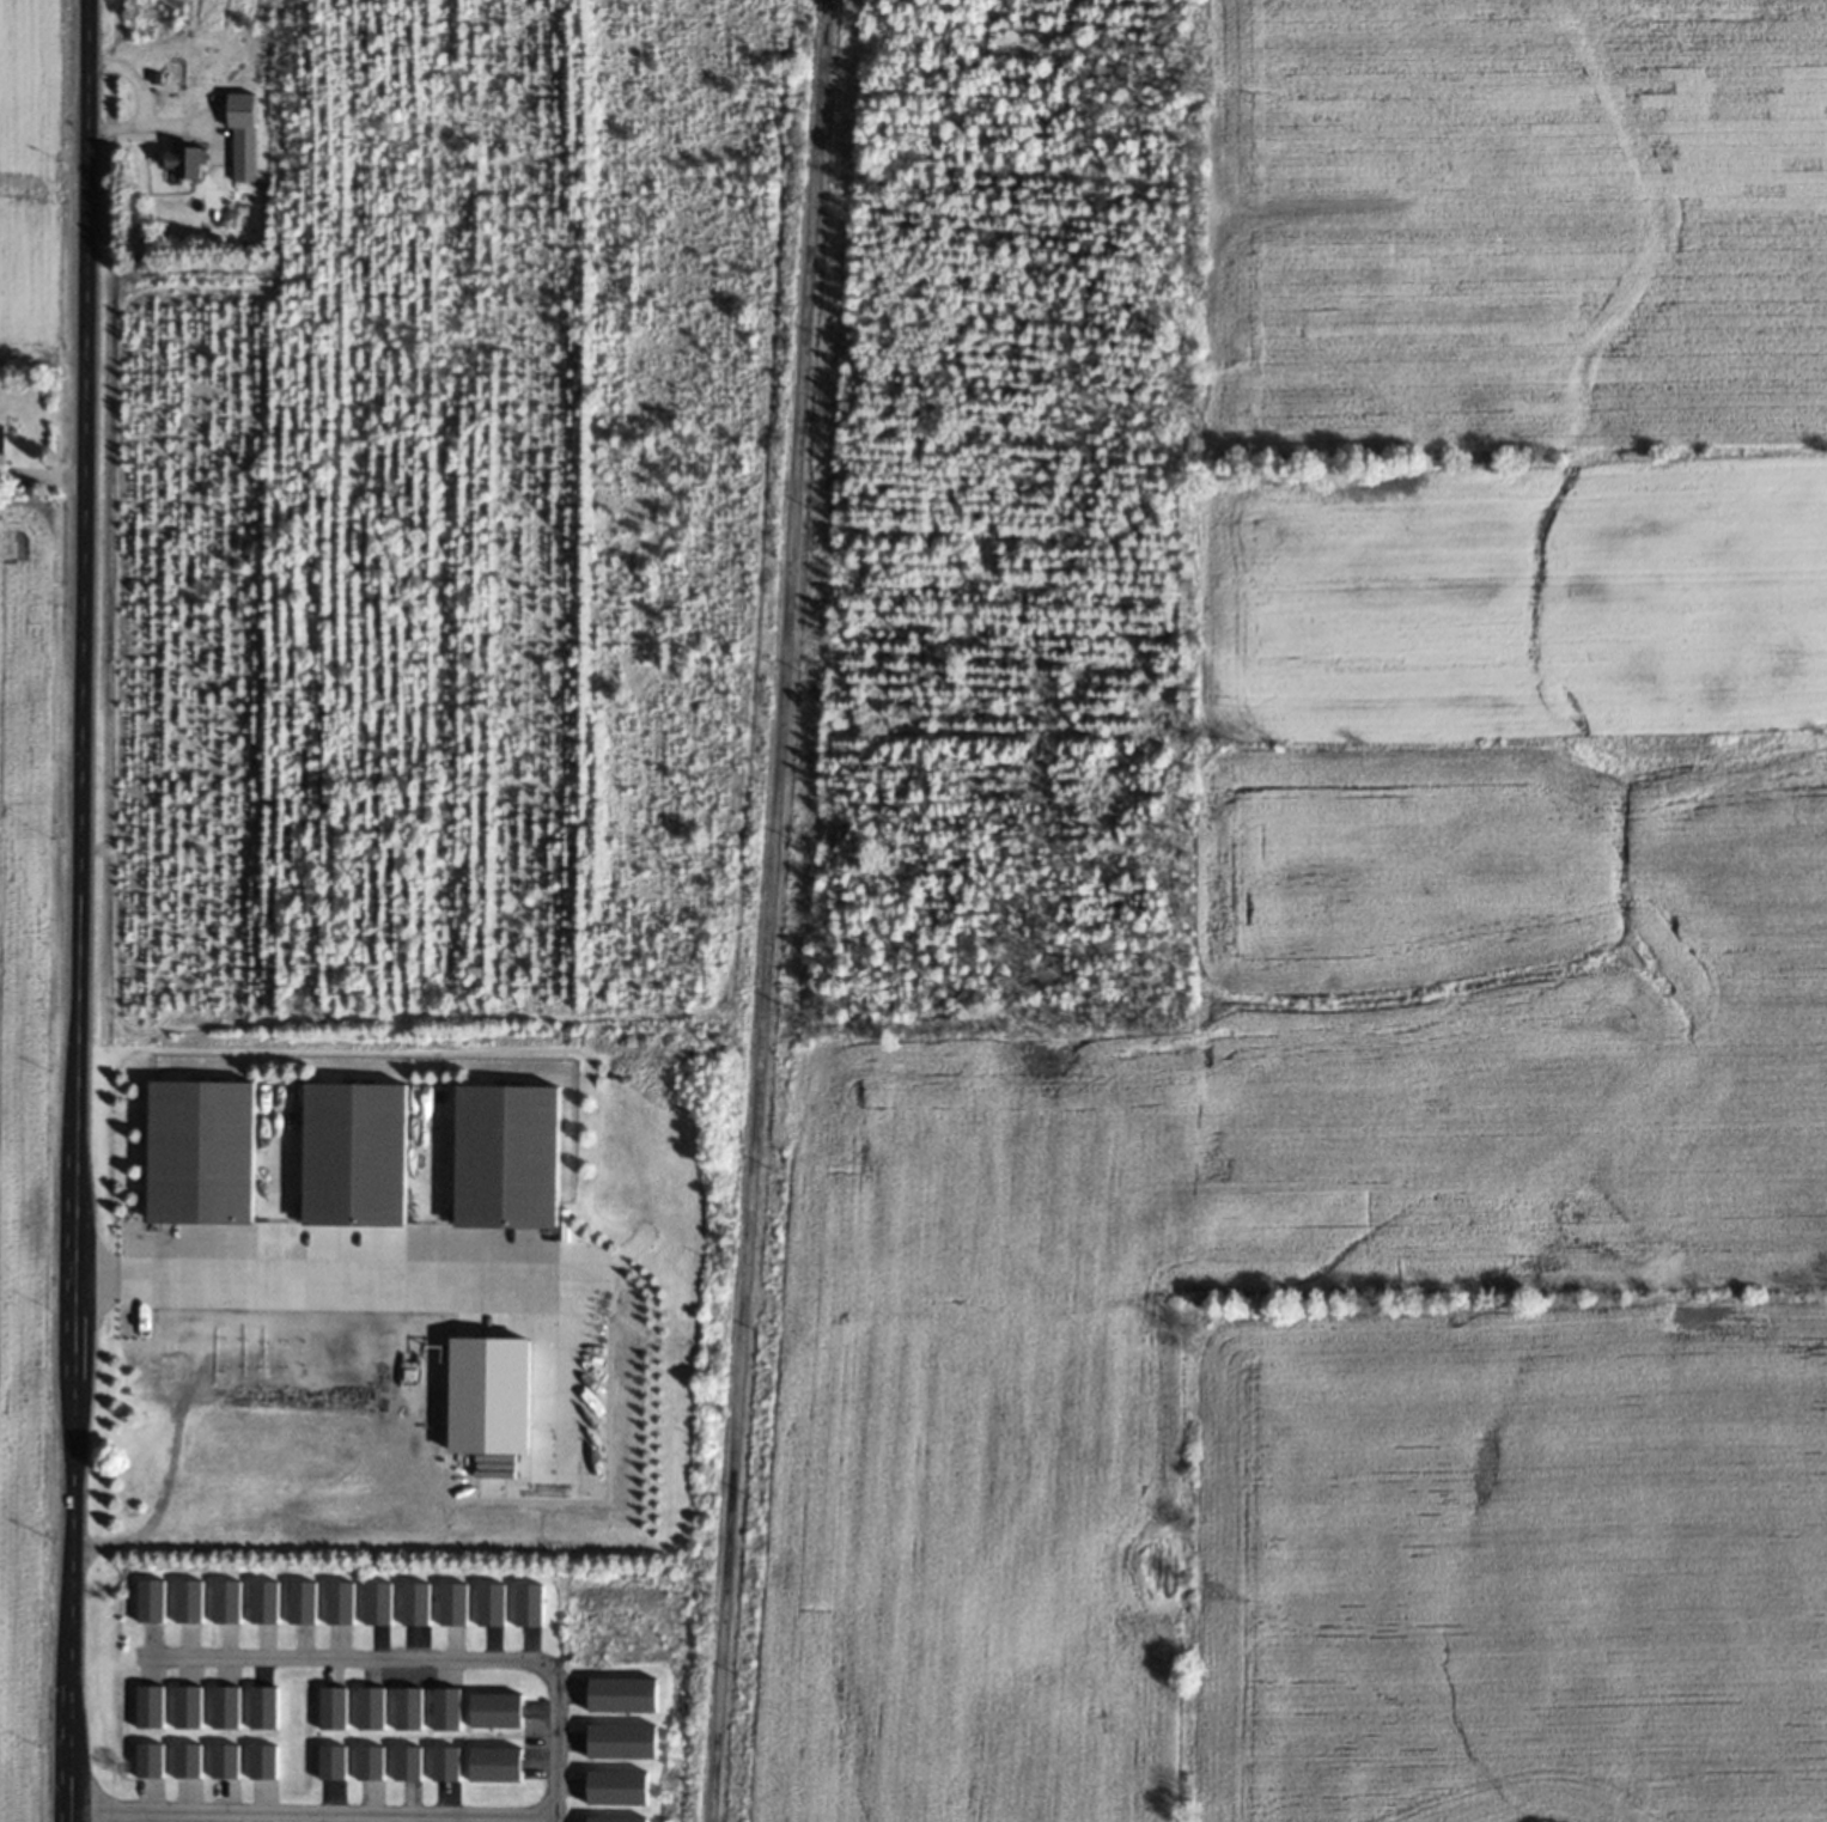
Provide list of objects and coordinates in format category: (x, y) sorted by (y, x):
road: (141, 99)
road: (172, 124)
building: (183, 162)
road: (78, 910)
road: (766, 910)
crop: (1393, 1029)
building: (200, 1153)
building: (353, 1156)
building: (506, 1158)
road: (307, 1276)
building: (150, 1599)
building: (188, 1599)
building: (225, 1601)
building: (262, 1601)
building: (300, 1602)
building: (339, 1602)
building: (376, 1603)
building: (414, 1603)
building: (452, 1603)
building: (489, 1604)
building: (526, 1604)
building: (620, 1695)
building: (148, 1706)
building: (187, 1706)
building: (224, 1706)
building: (262, 1707)
building: (330, 1707)
building: (369, 1707)
building: (407, 1708)
building: (445, 1710)
building: (494, 1711)
building: (620, 1742)
building: (148, 1760)
building: (185, 1760)
building: (224, 1761)
building: (261, 1761)
building: (330, 1762)
building: (369, 1762)
building: (406, 1763)
building: (444, 1763)
building: (493, 1765)
road: (553, 1779)
building: (615, 1787)
road: (552, 1818)
building: (615, 1820)

